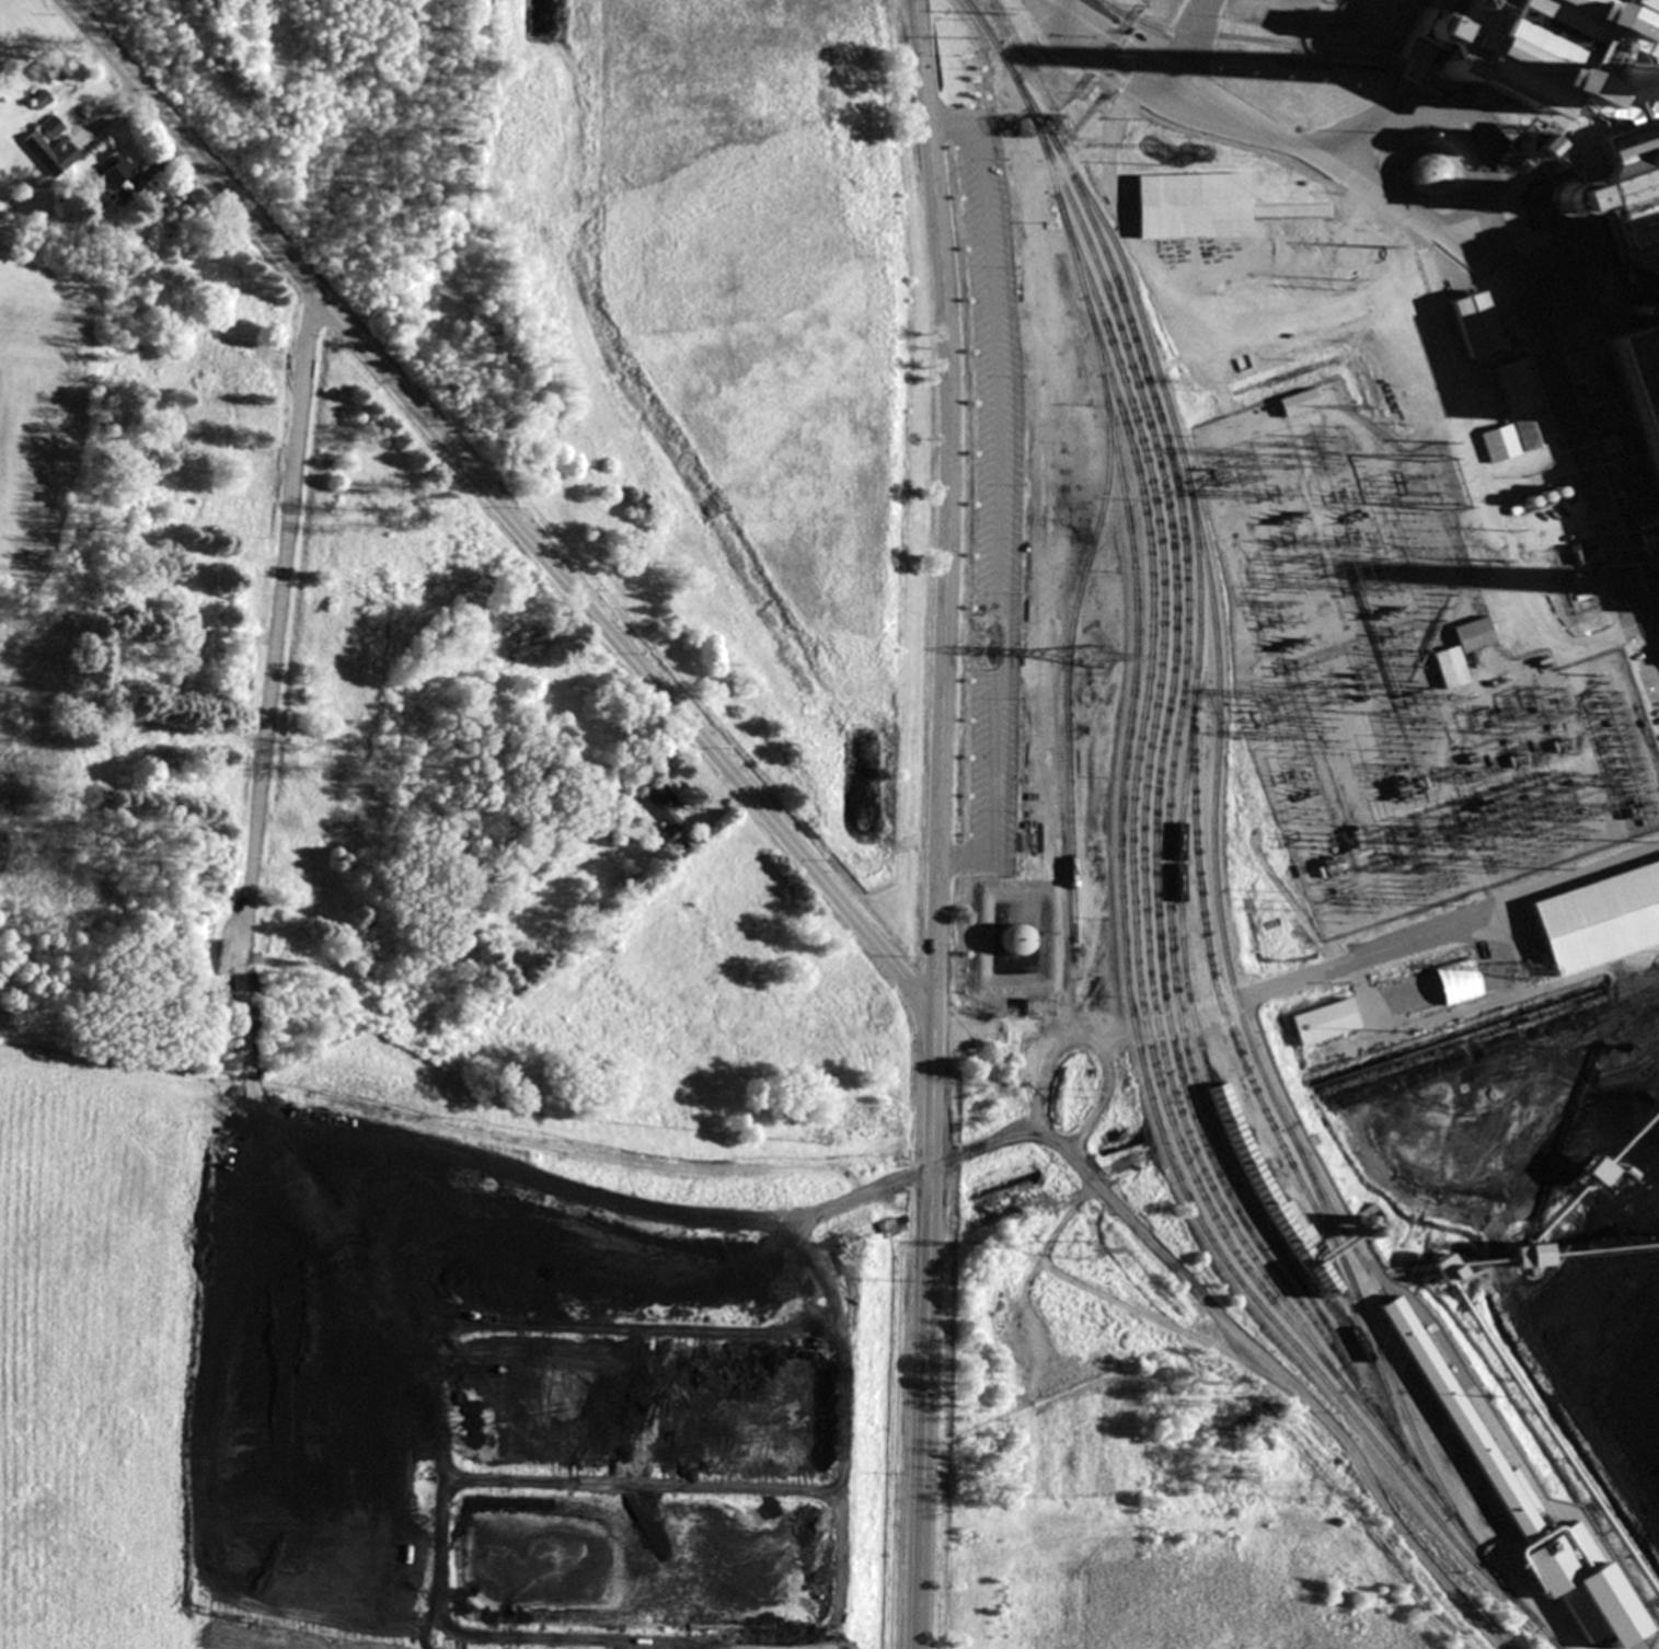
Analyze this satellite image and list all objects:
building: (1509, 5)
building: (1328, 15)
railway: (1240, 36)
building: (645, 43)
building: (1500, 47)
railway: (1305, 48)
building: (1629, 82)
chimney: (1623, 88)
building: (1326, 93)
building: (41, 99)
railway: (1499, 124)
building: (51, 127)
building: (1656, 136)
railway: (1472, 143)
building: (1522, 146)
building: (51, 152)
building: (117, 174)
building: (1426, 175)
building: (1562, 193)
building: (1191, 205)
road: (1462, 260)
building: (1248, 261)
building: (1654, 273)
building: (1361, 285)
building: (1472, 325)
building: (1379, 331)
building: (1398, 370)
building: (1640, 383)
building: (1593, 384)
building: (1413, 399)
building: (1298, 403)
building: (1518, 416)
building: (210, 424)
building: (1537, 498)
road: (499, 507)
road: (277, 624)
building: (1462, 649)
power tower: (1094, 655)
railway: (1067, 664)
power substation: (1395, 676)
railway: (1162, 736)
railway: (1148, 762)
railway: (1168, 784)
building: (666, 807)
road: (941, 823)
power plant: (856, 842)
road: (1568, 874)
railway: (1216, 883)
building: (1595, 921)
building: (1014, 942)
power tower: (1524, 973)
railway: (1139, 992)
building: (1038, 1007)
building: (1324, 1022)
railway: (1132, 1027)
railway: (1236, 1051)
railway: (1232, 1130)
railway: (1322, 1209)
power tower: (1088, 1249)
building: (1458, 1420)
power tower: (1313, 1489)
building: (1577, 1581)

